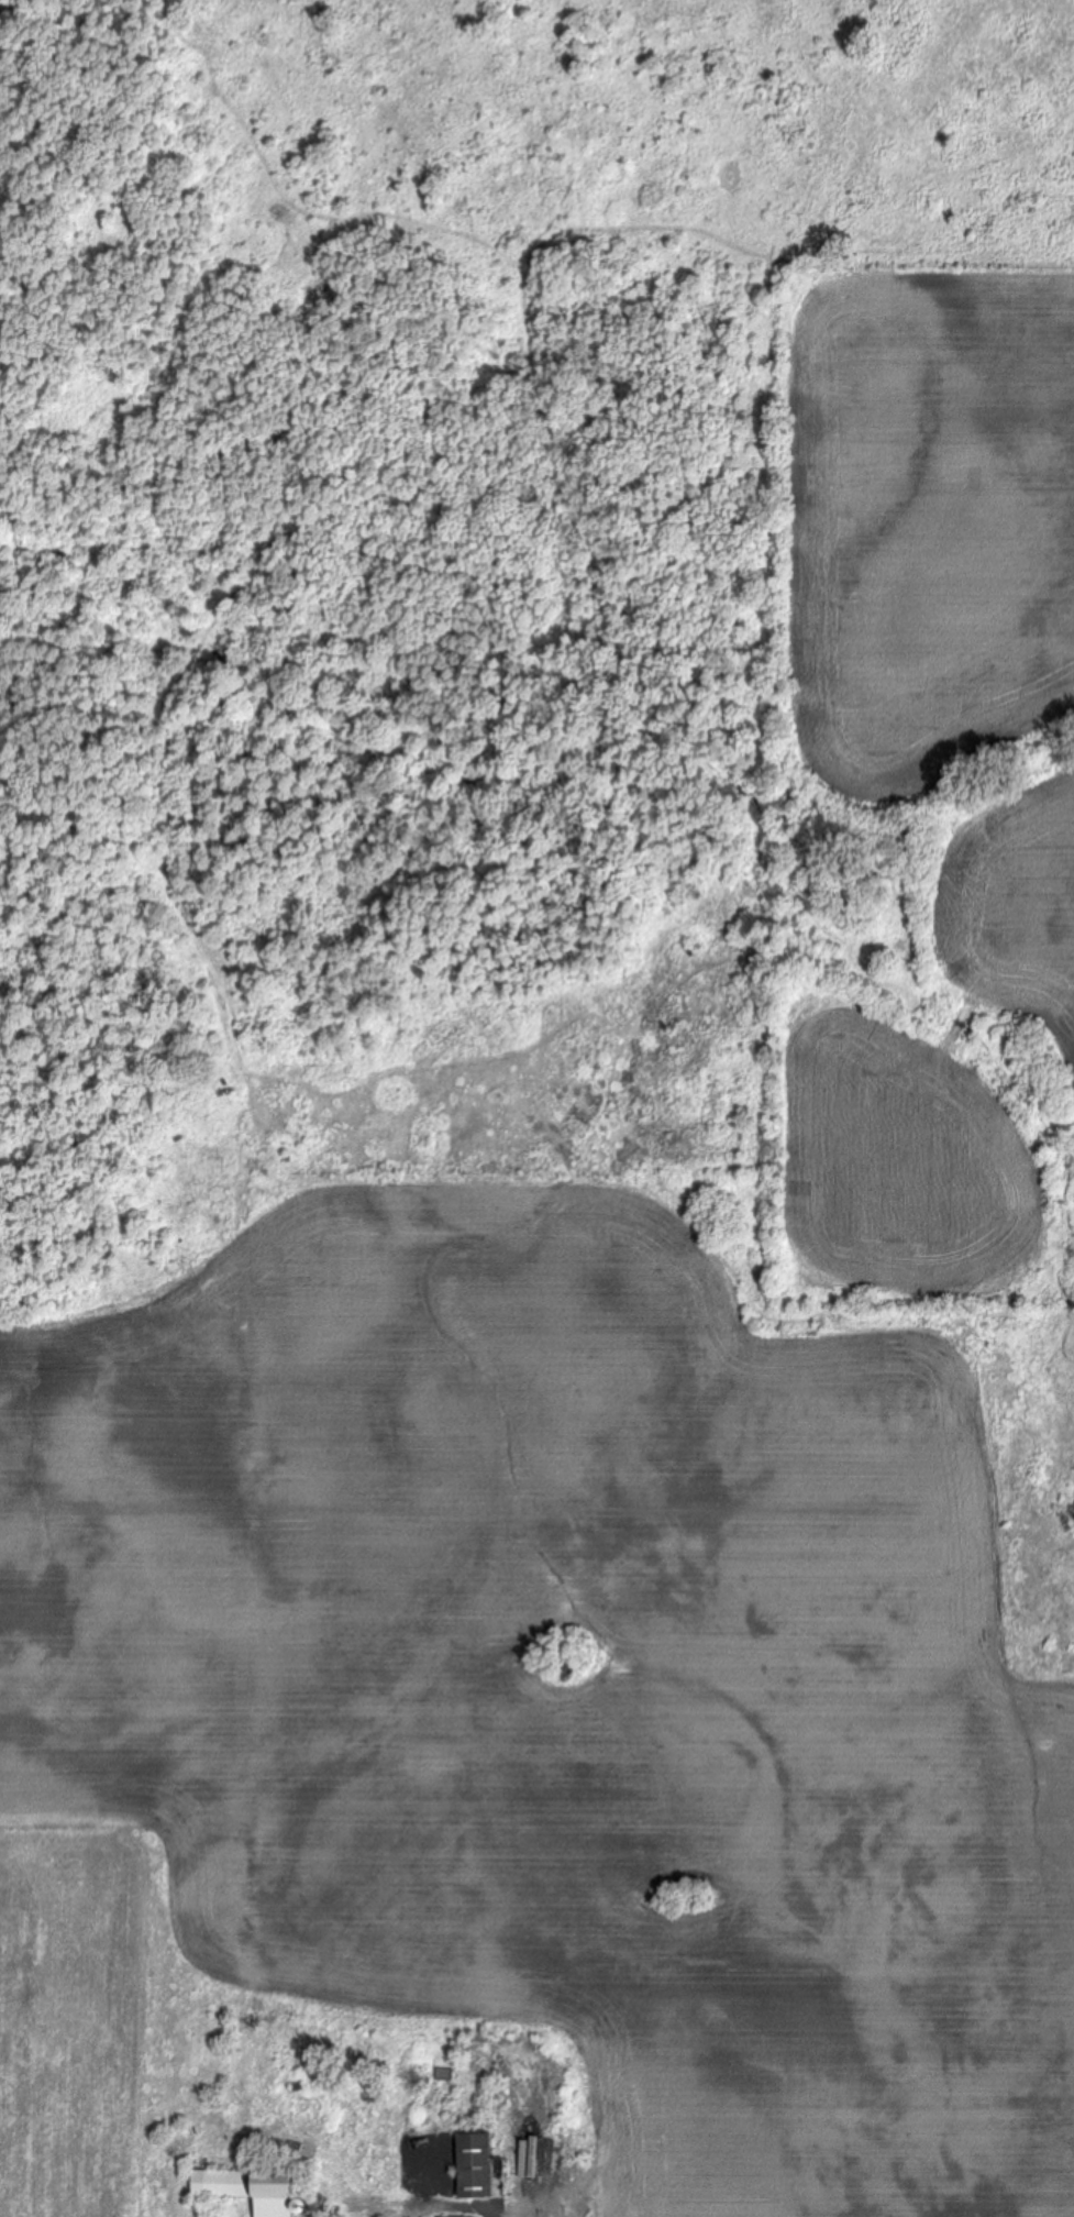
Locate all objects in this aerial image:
building: (444, 2075)
building: (480, 2169)
building: (251, 2190)
building: (211, 2212)

